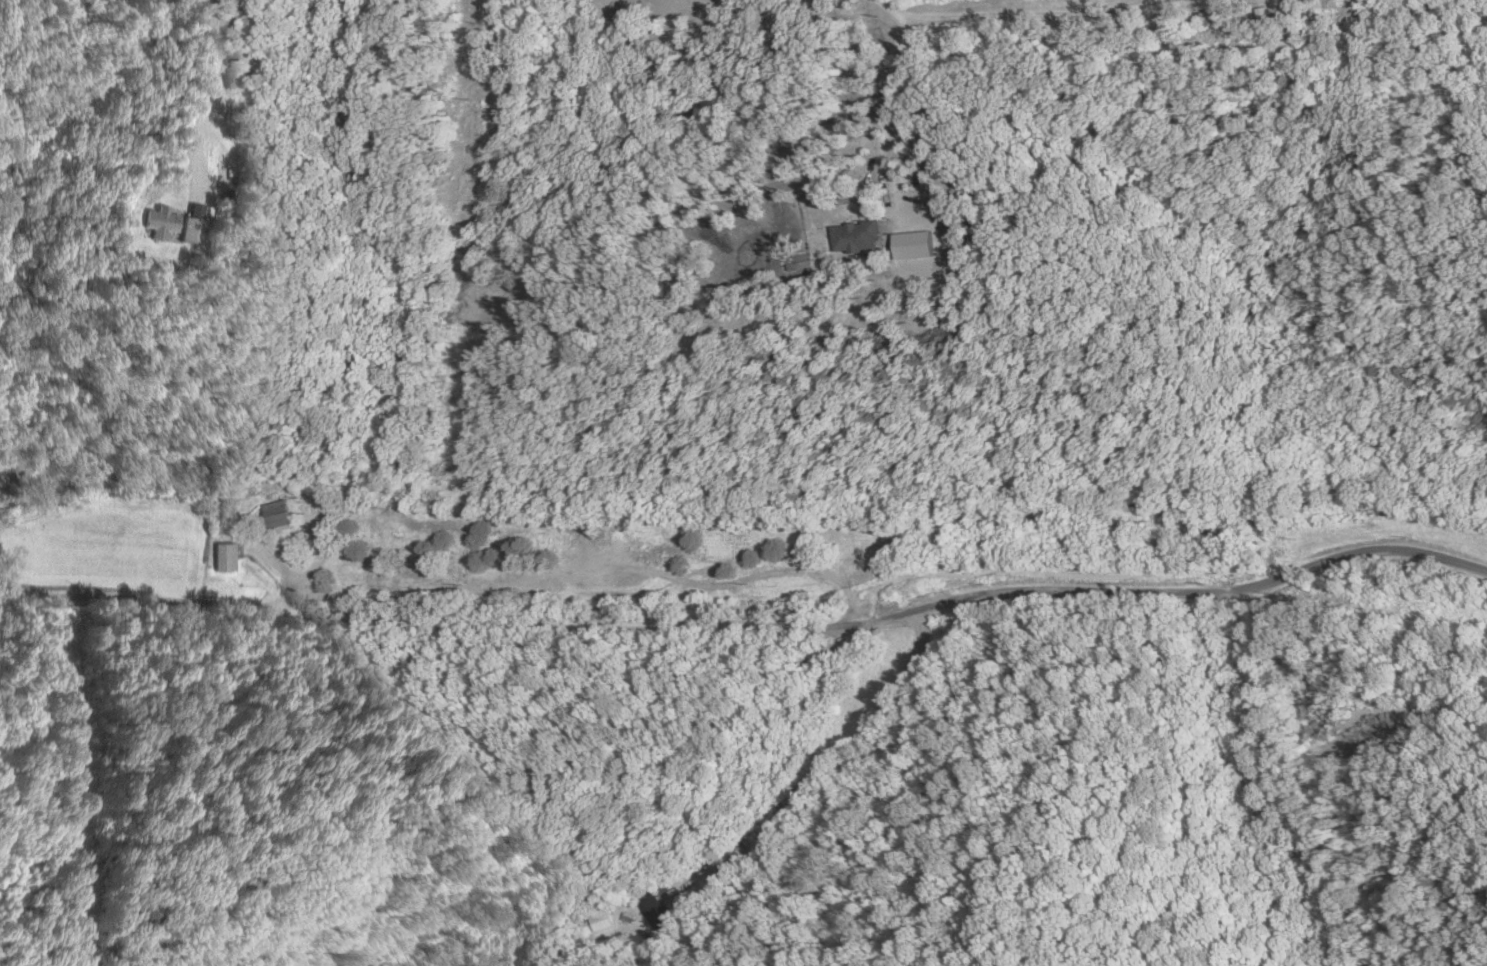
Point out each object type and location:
road: (888, 7)
road: (1029, 12)
road: (879, 115)
building: (156, 222)
building: (856, 237)
building: (276, 514)
building: (222, 556)
road: (749, 622)
road: (799, 788)
building: (657, 909)

